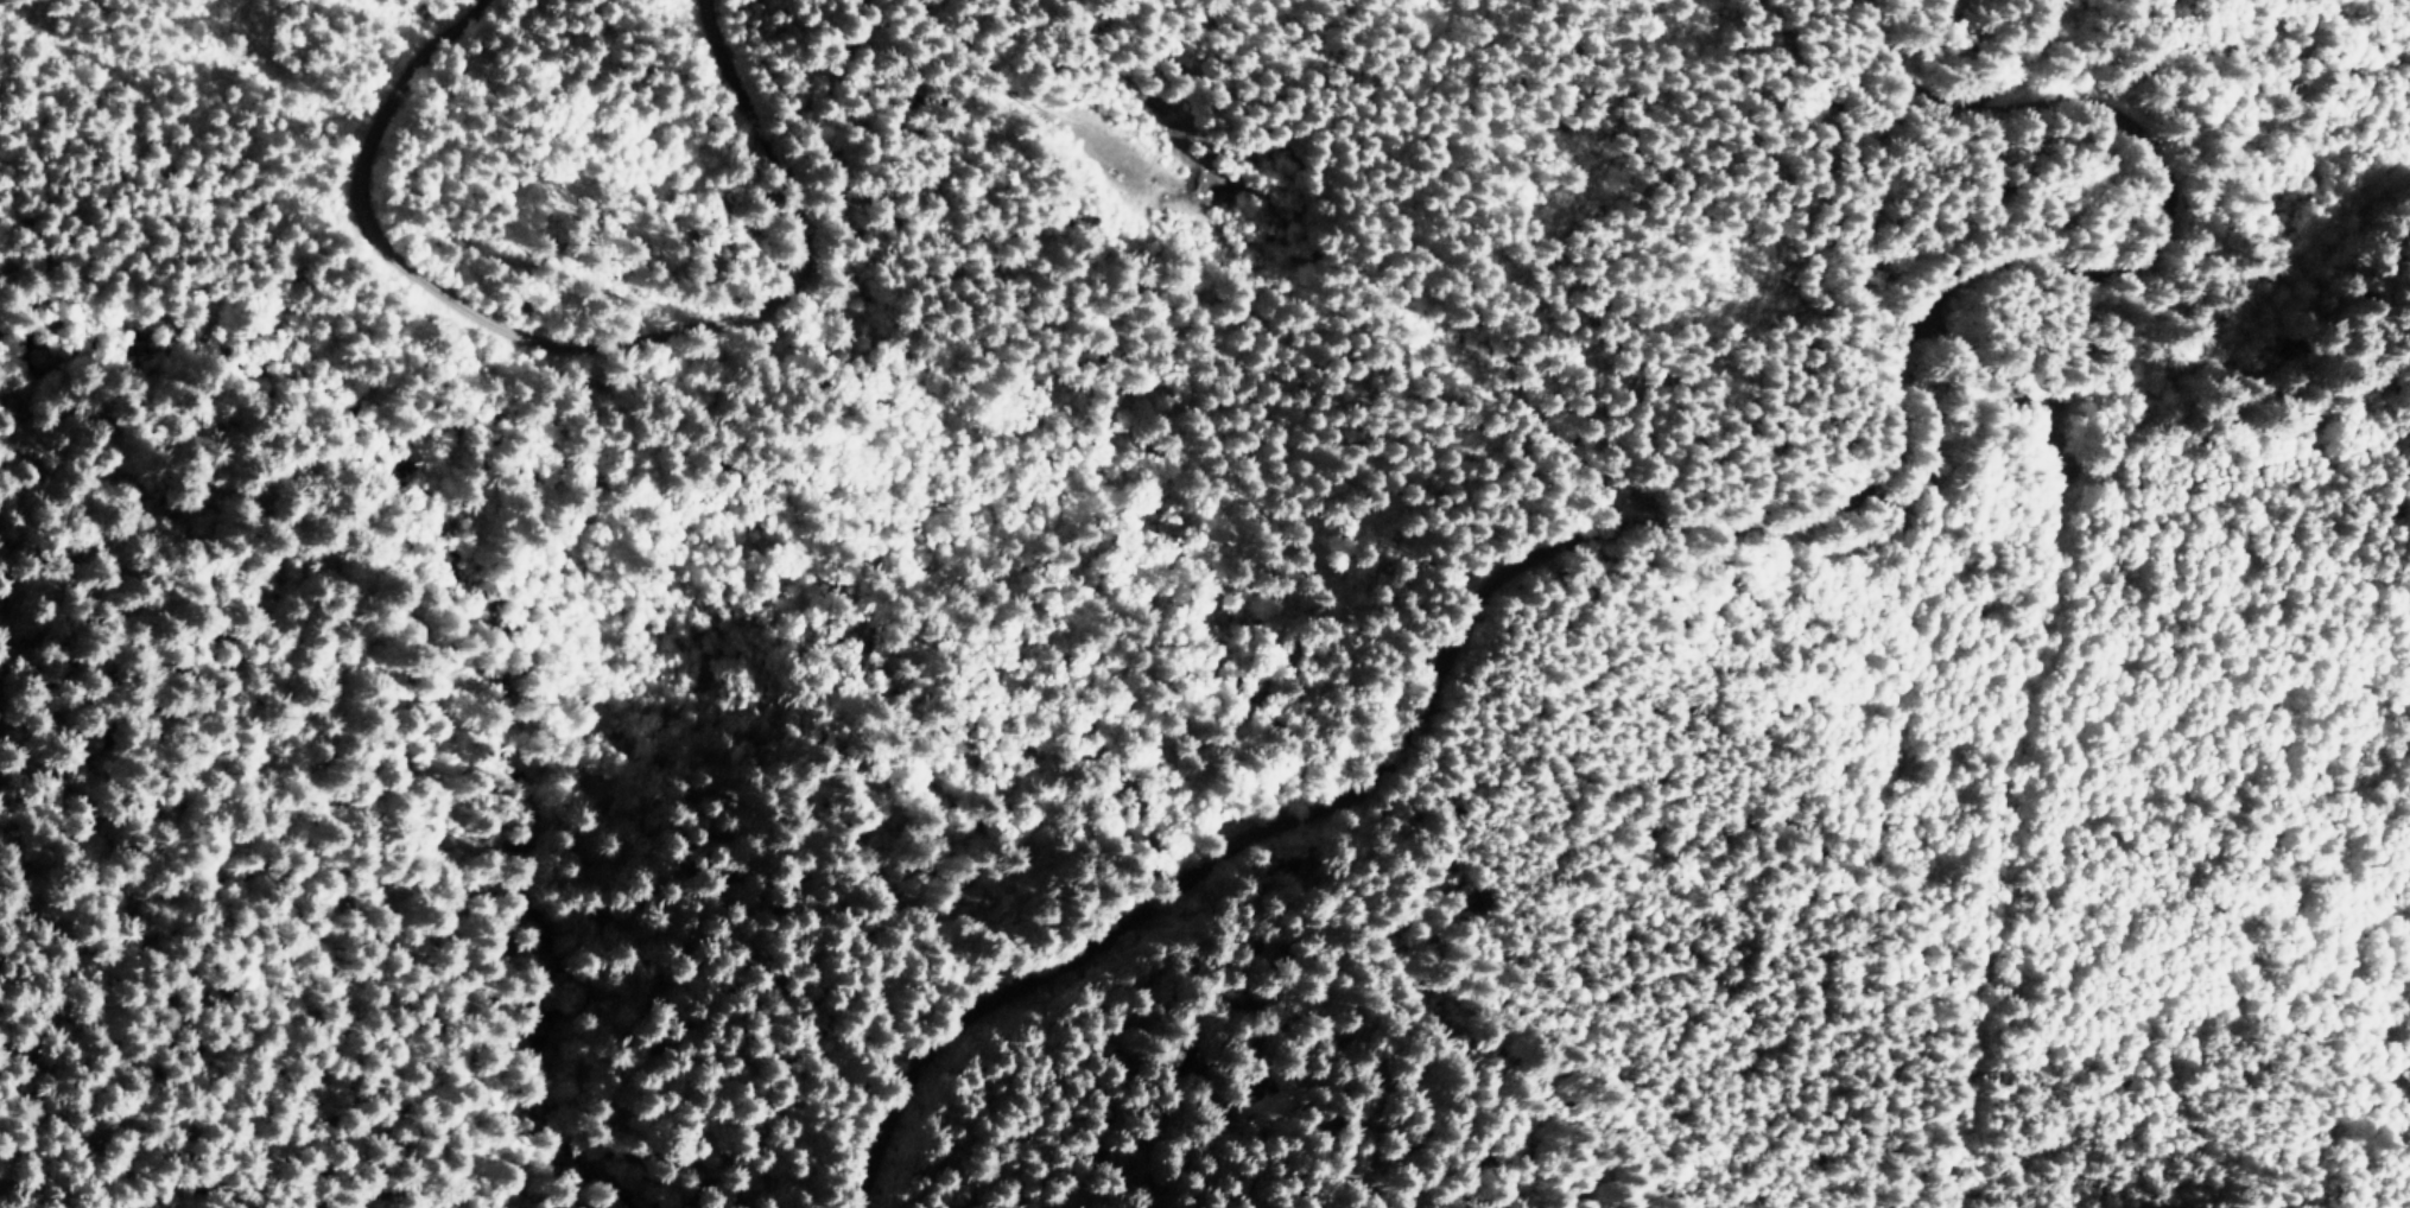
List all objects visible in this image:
road: (971, 50)
road: (2024, 58)
road: (621, 381)
road: (2219, 390)
road: (2249, 482)
road: (1700, 571)
road: (2290, 854)
road: (1971, 1161)

